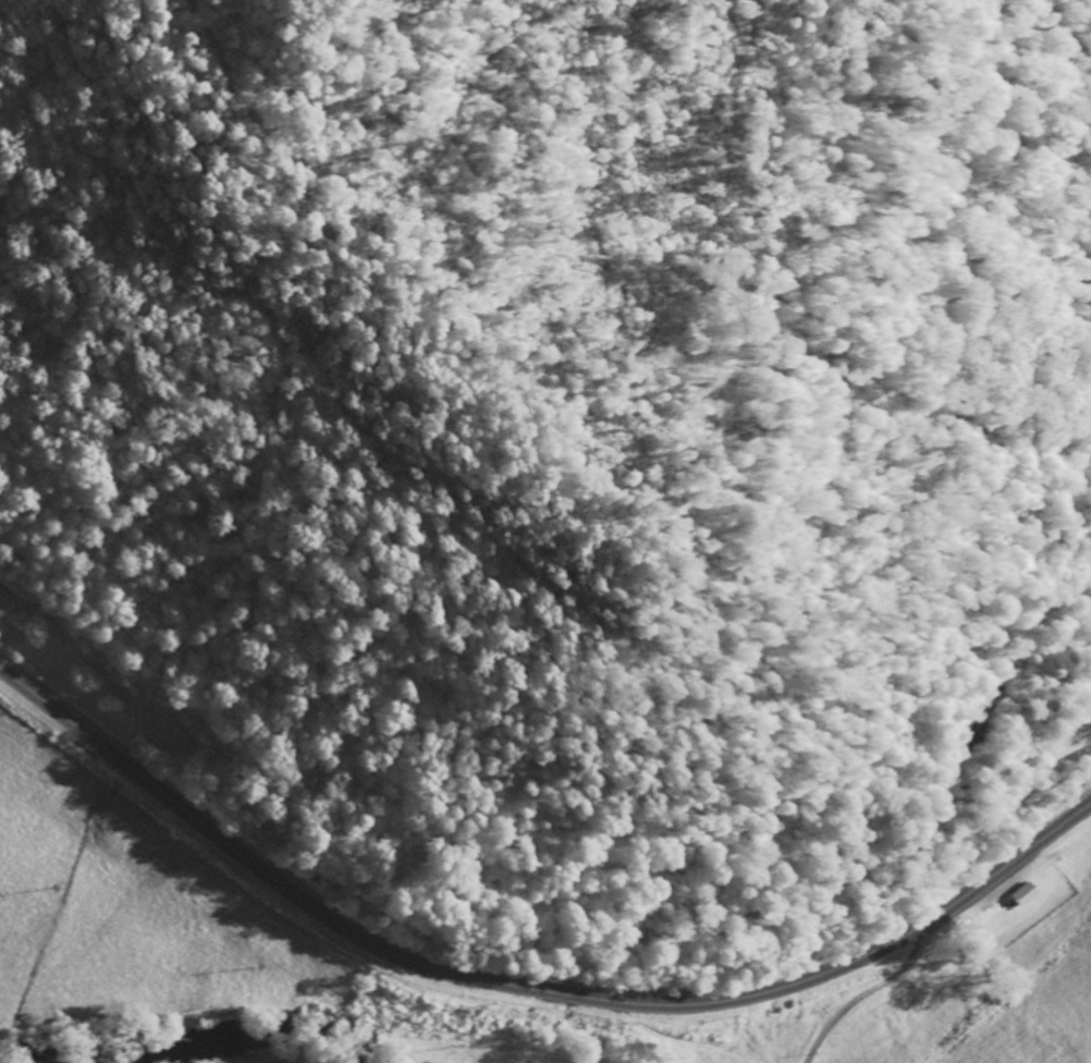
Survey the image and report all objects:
park: (1044, 761)
building: (1023, 893)
road: (713, 923)
road: (524, 987)
road: (870, 991)
road: (694, 1046)

